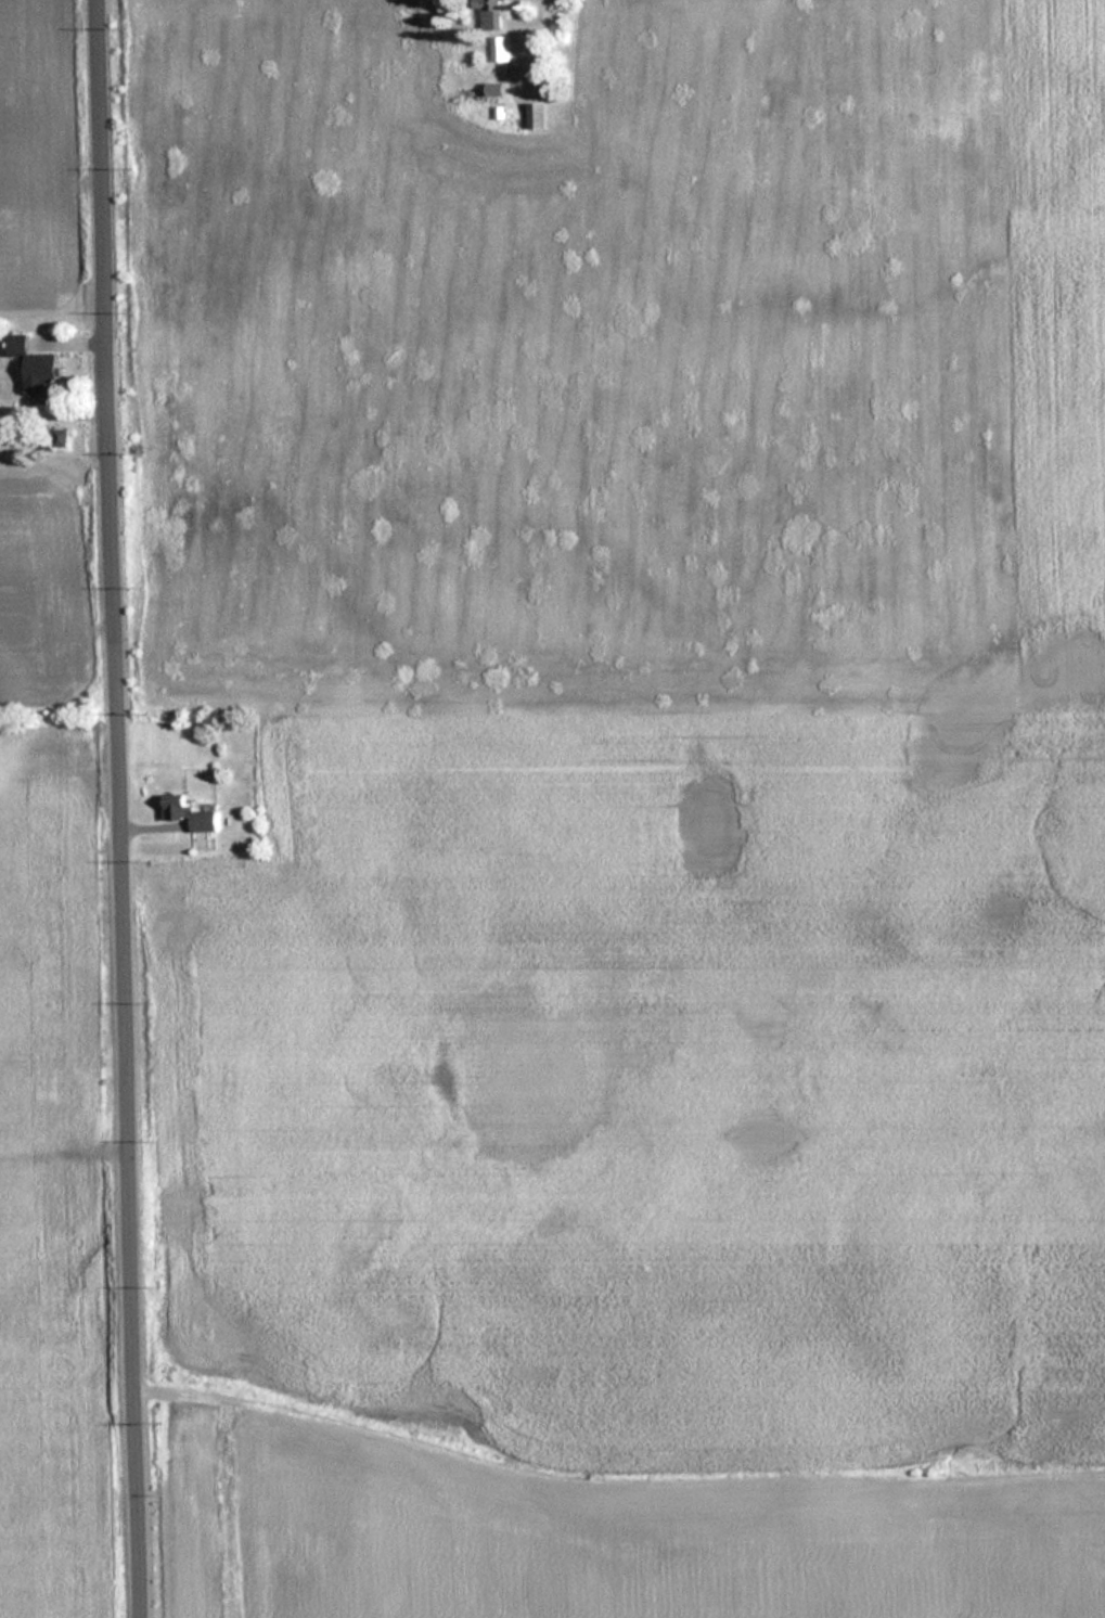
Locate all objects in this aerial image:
building: (491, 13)
building: (500, 50)
building: (536, 116)
building: (35, 364)
building: (61, 438)
road: (124, 808)
building: (188, 813)

